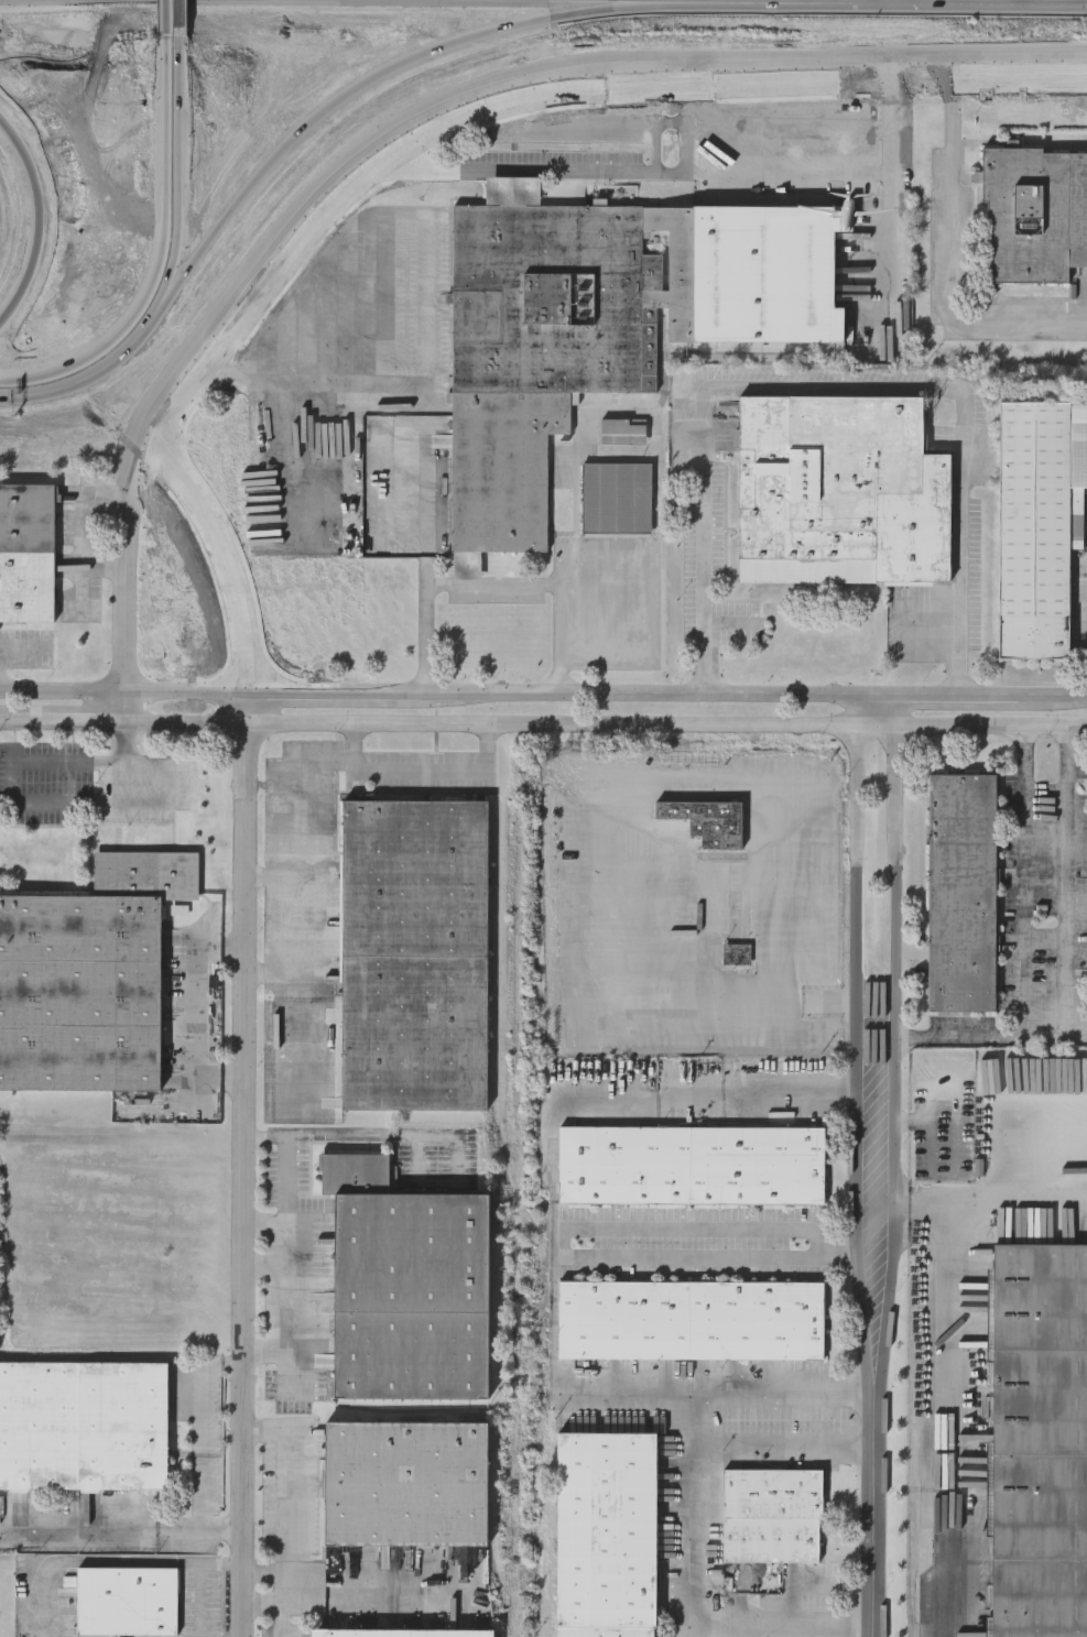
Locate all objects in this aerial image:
road: (167, 17)
road: (181, 18)
road: (515, 70)
road: (694, 121)
road: (606, 125)
road: (405, 133)
road: (665, 149)
road: (620, 172)
road: (891, 176)
building: (1034, 215)
road: (426, 223)
road: (175, 233)
road: (160, 253)
road: (952, 254)
building: (599, 326)
road: (835, 384)
road: (33, 394)
building: (622, 433)
building: (838, 492)
building: (616, 499)
building: (1037, 525)
road: (91, 530)
building: (26, 554)
road: (444, 586)
road: (565, 624)
road: (22, 645)
road: (543, 696)
road: (422, 767)
road: (31, 803)
building: (720, 826)
road: (285, 845)
road: (900, 853)
road: (857, 854)
road: (271, 877)
building: (960, 893)
road: (1067, 903)
road: (1023, 953)
building: (413, 954)
road: (774, 971)
road: (271, 972)
building: (88, 976)
road: (200, 1012)
road: (254, 1019)
road: (721, 1094)
road: (337, 1136)
building: (691, 1166)
road: (287, 1182)
road: (703, 1227)
road: (274, 1233)
road: (709, 1256)
building: (405, 1286)
road: (274, 1312)
building: (689, 1319)
road: (877, 1322)
road: (228, 1362)
road: (948, 1388)
road: (694, 1416)
building: (83, 1425)
building: (1039, 1440)
road: (203, 1448)
road: (785, 1449)
building: (404, 1482)
road: (294, 1488)
building: (771, 1515)
road: (131, 1532)
building: (605, 1532)
road: (284, 1580)
road: (382, 1594)
building: (127, 1600)
road: (267, 1601)
road: (280, 1618)
road: (781, 1627)
building: (400, 1631)

